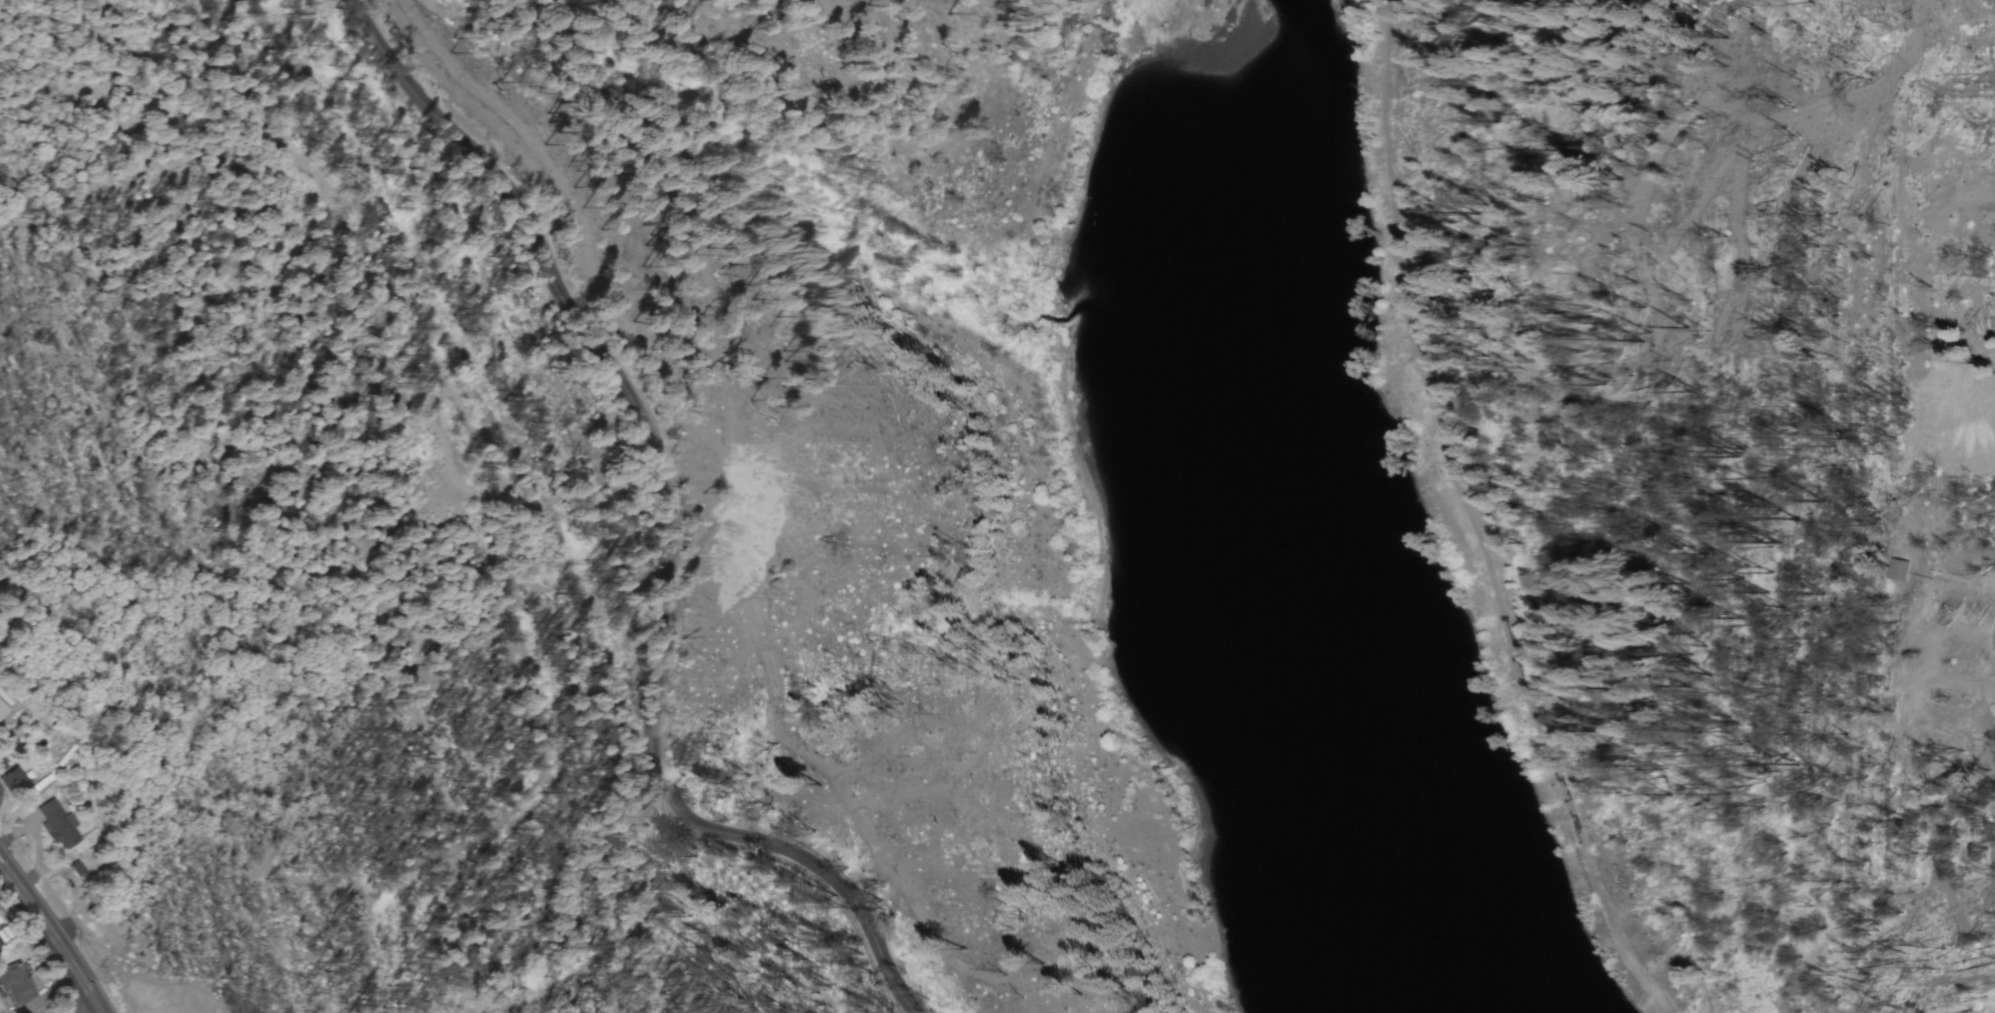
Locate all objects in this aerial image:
road: (672, 524)
building: (1901, 571)
building: (13, 783)
building: (58, 827)
road: (55, 933)
building: (15, 987)
building: (167, 997)
road: (100, 1011)

